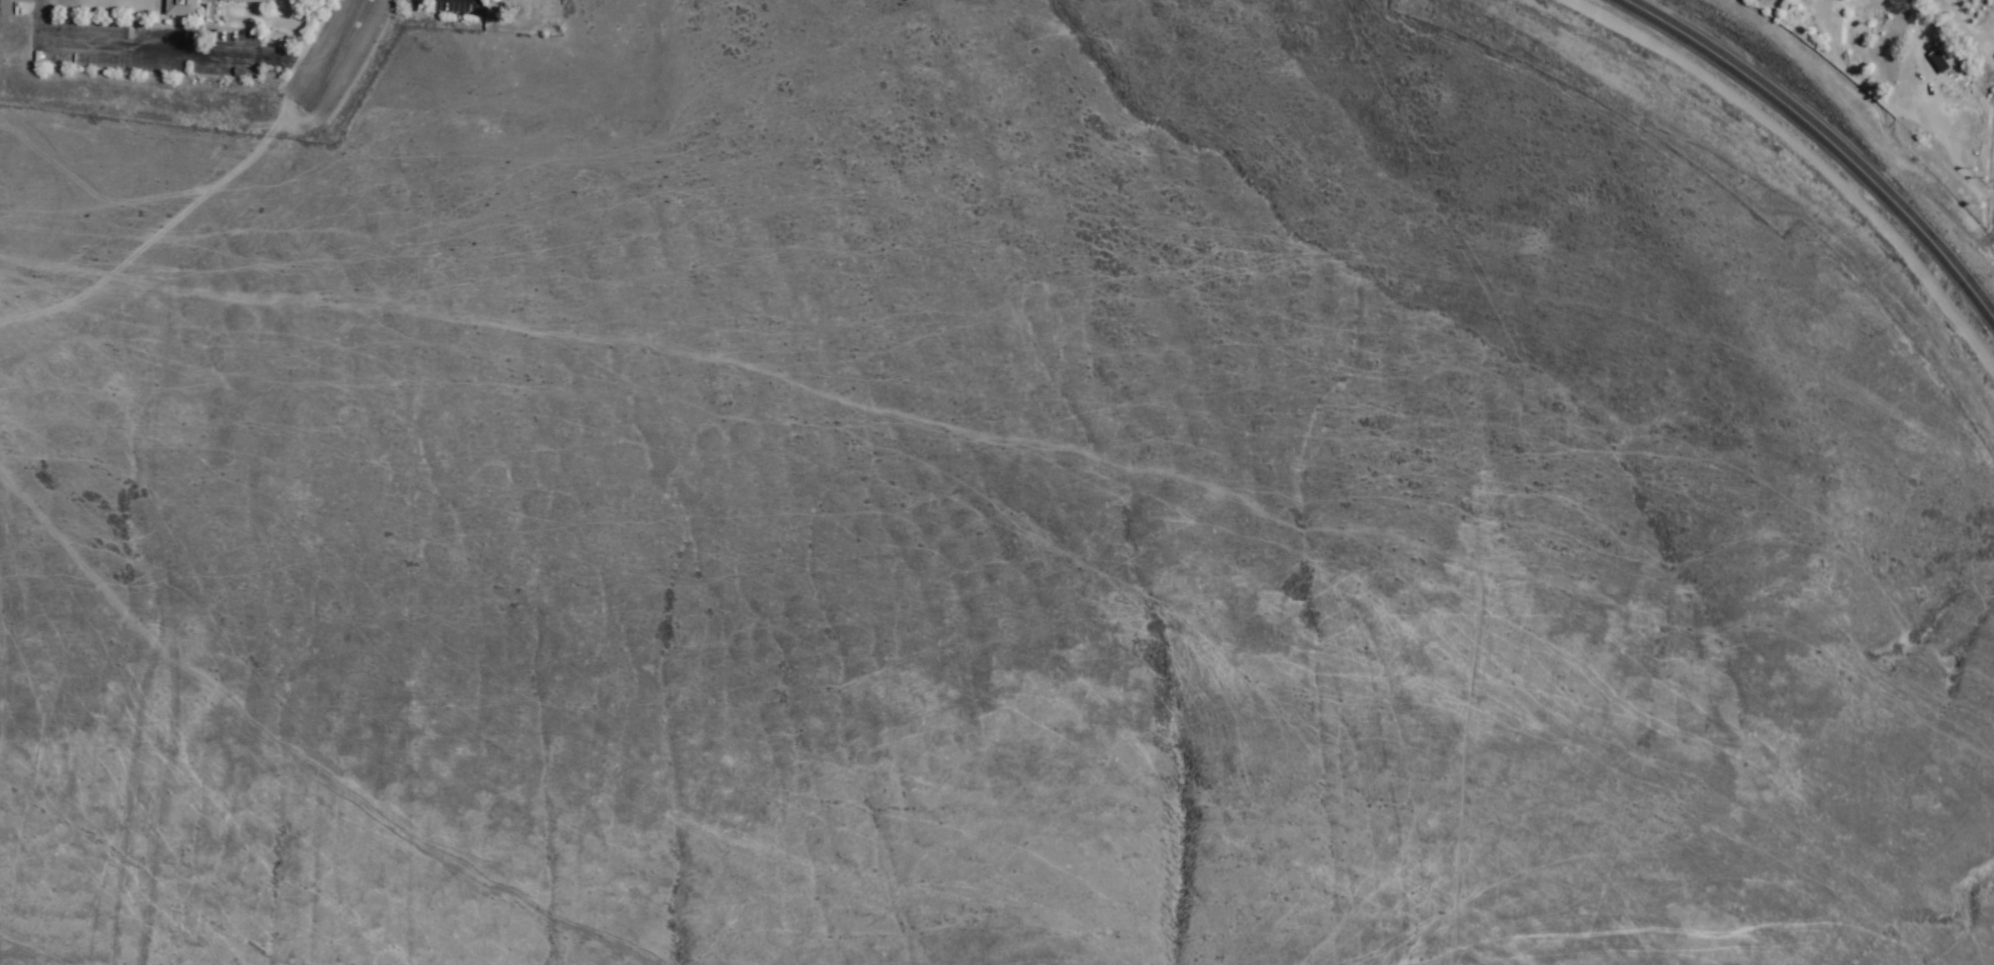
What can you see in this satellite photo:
building: (252, 0)
building: (181, 8)
road: (165, 51)
road: (337, 56)
building: (1939, 59)
road: (1821, 145)

